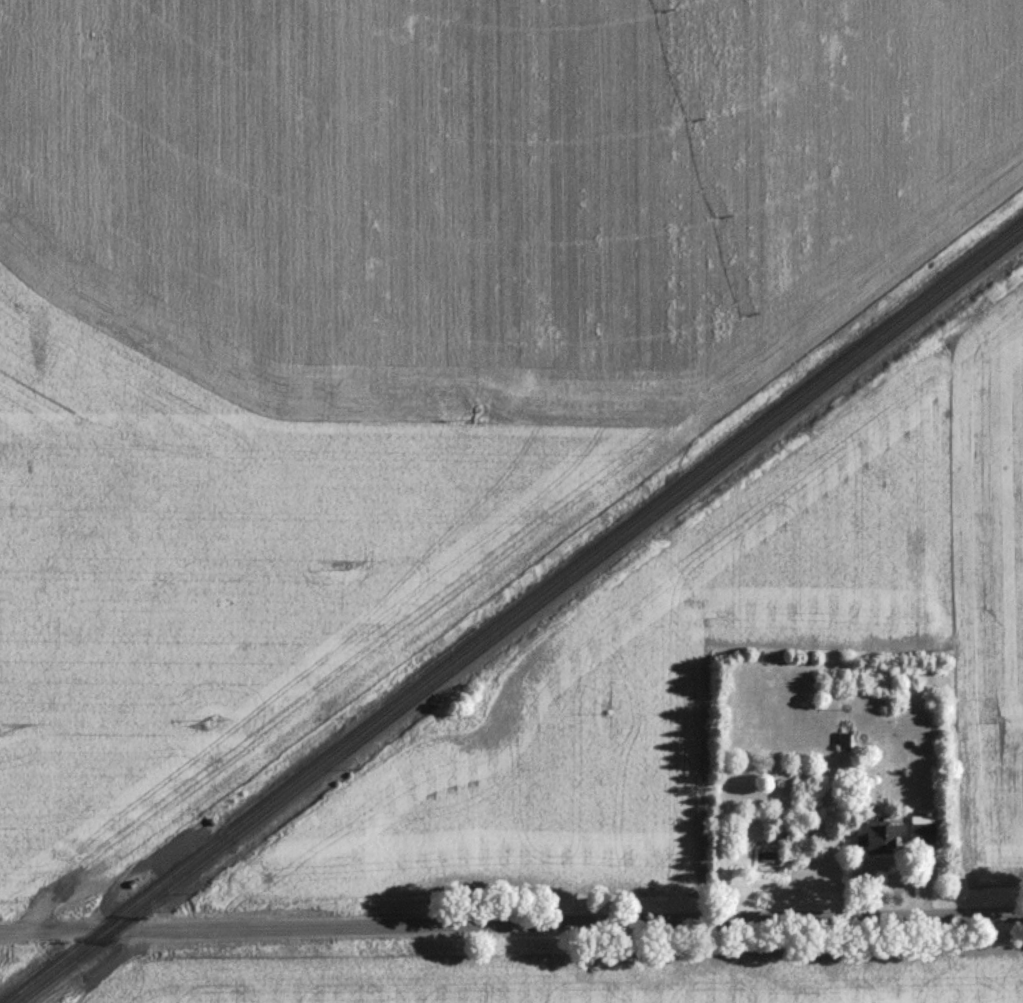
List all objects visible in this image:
railway: (516, 614)
railway: (522, 620)
building: (844, 744)
building: (922, 837)
building: (878, 843)
road: (511, 925)

